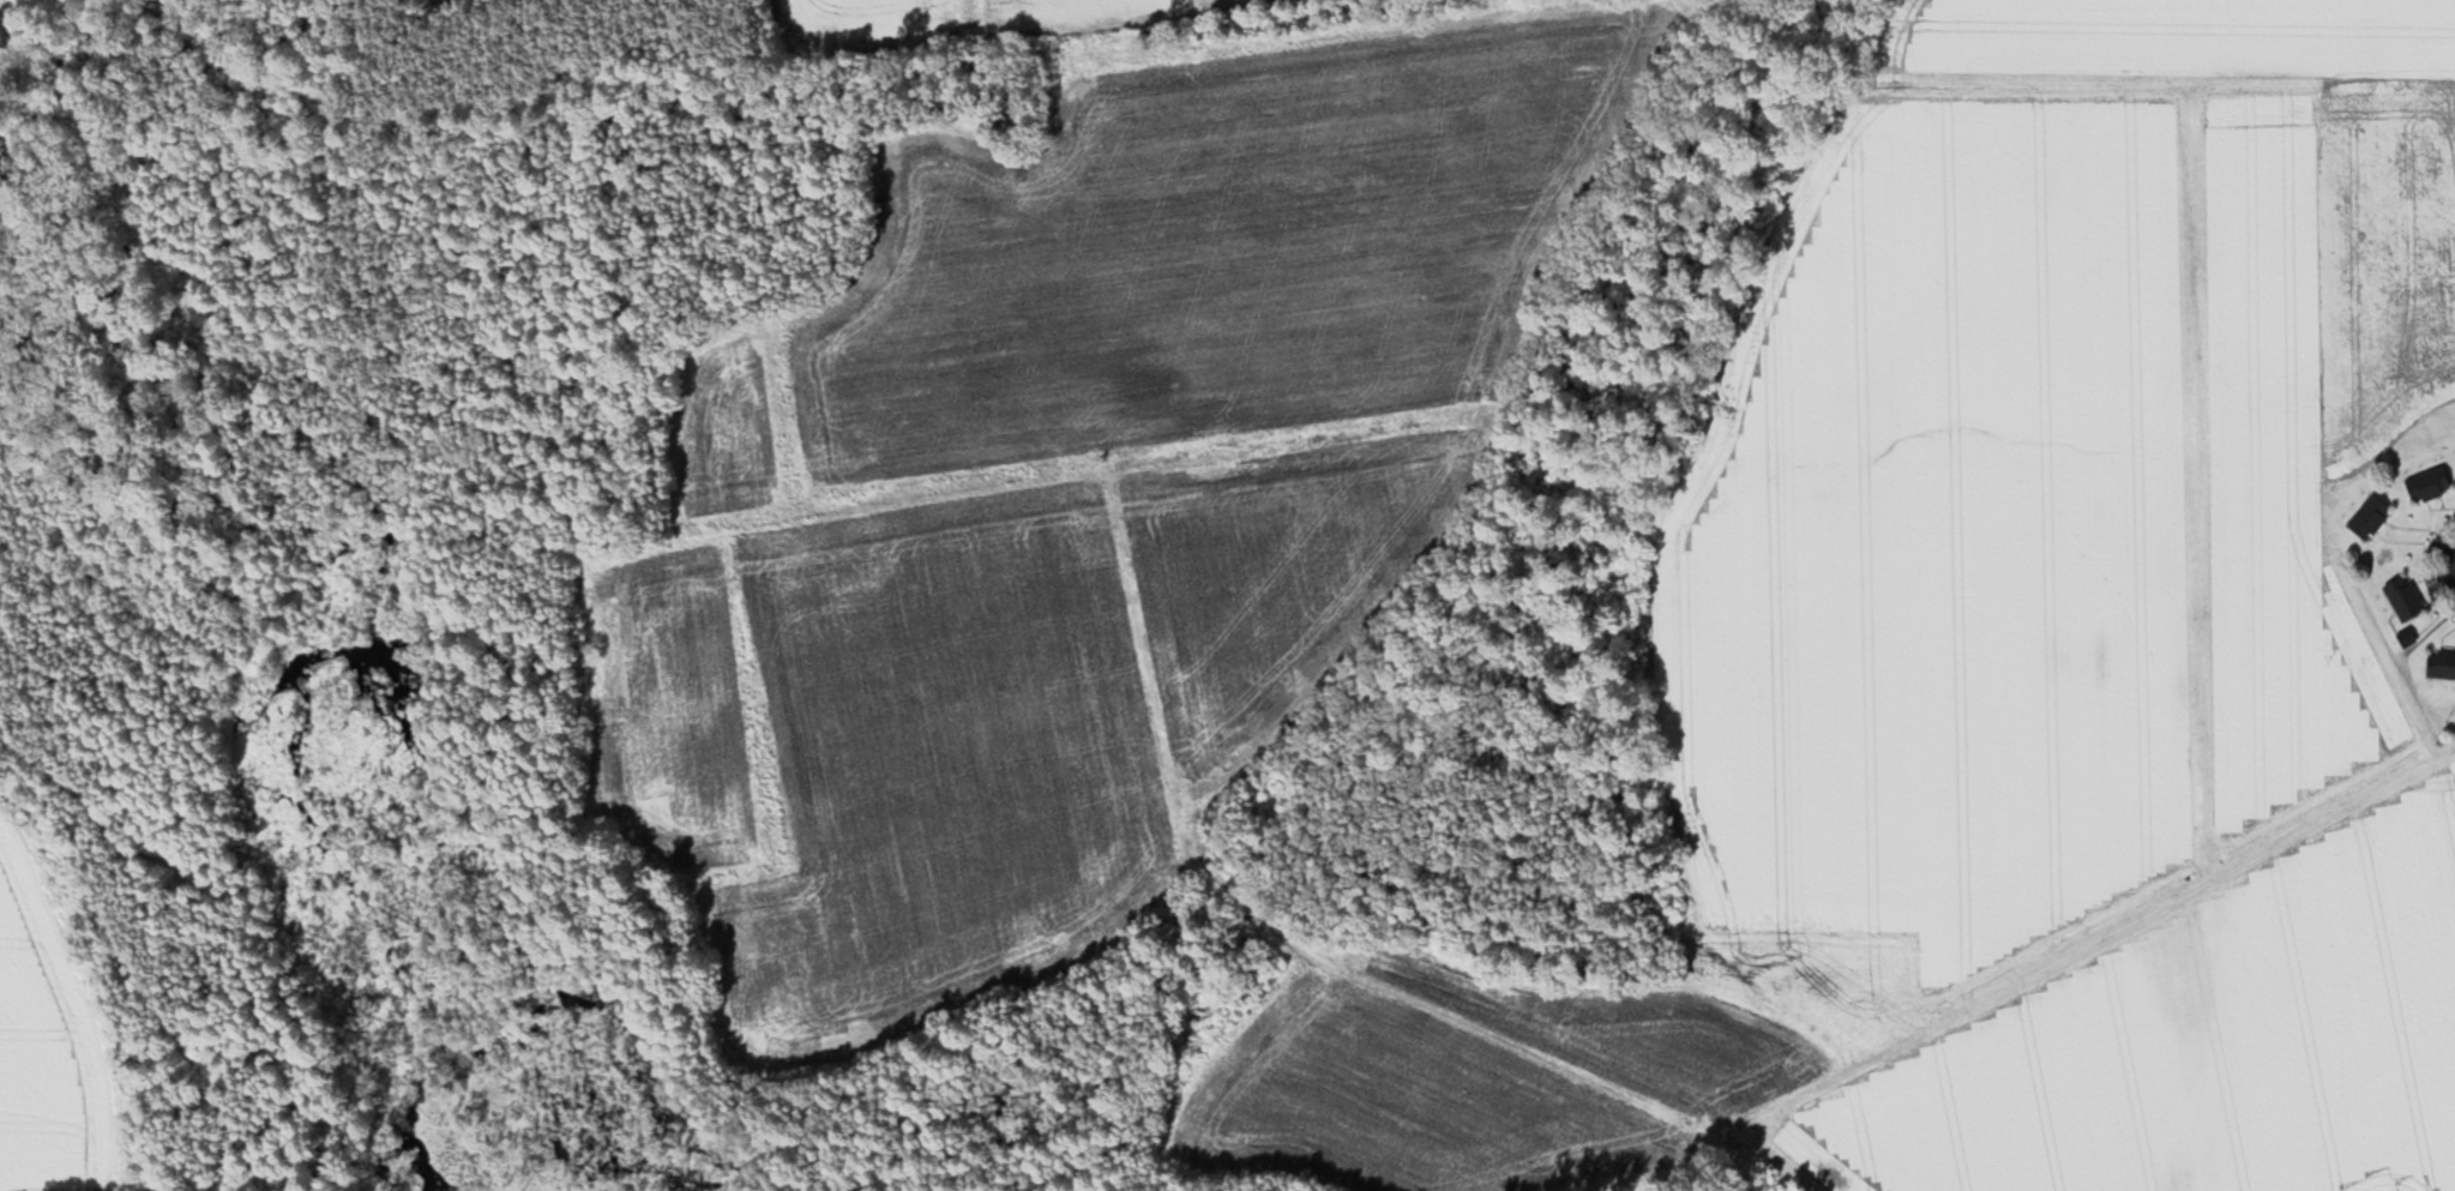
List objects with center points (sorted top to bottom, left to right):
building: (2427, 486)
building: (2369, 519)
road: (2454, 581)
building: (2403, 600)
building: (2441, 667)

